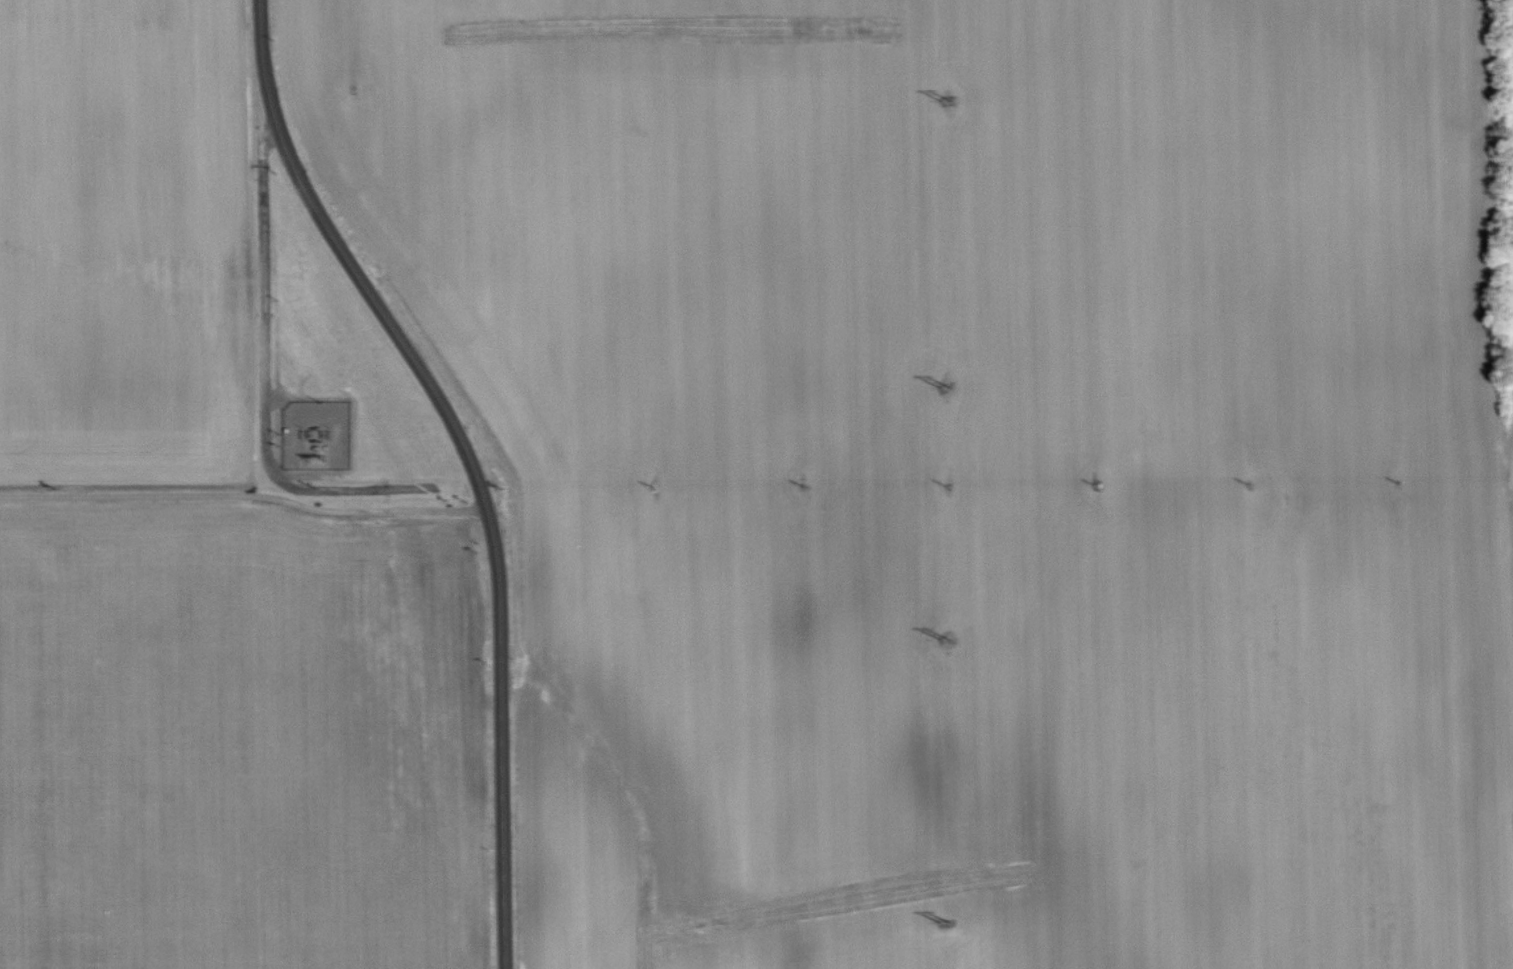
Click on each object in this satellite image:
road: (348, 260)
road: (261, 380)
road: (243, 495)
road: (497, 636)
road: (500, 868)

